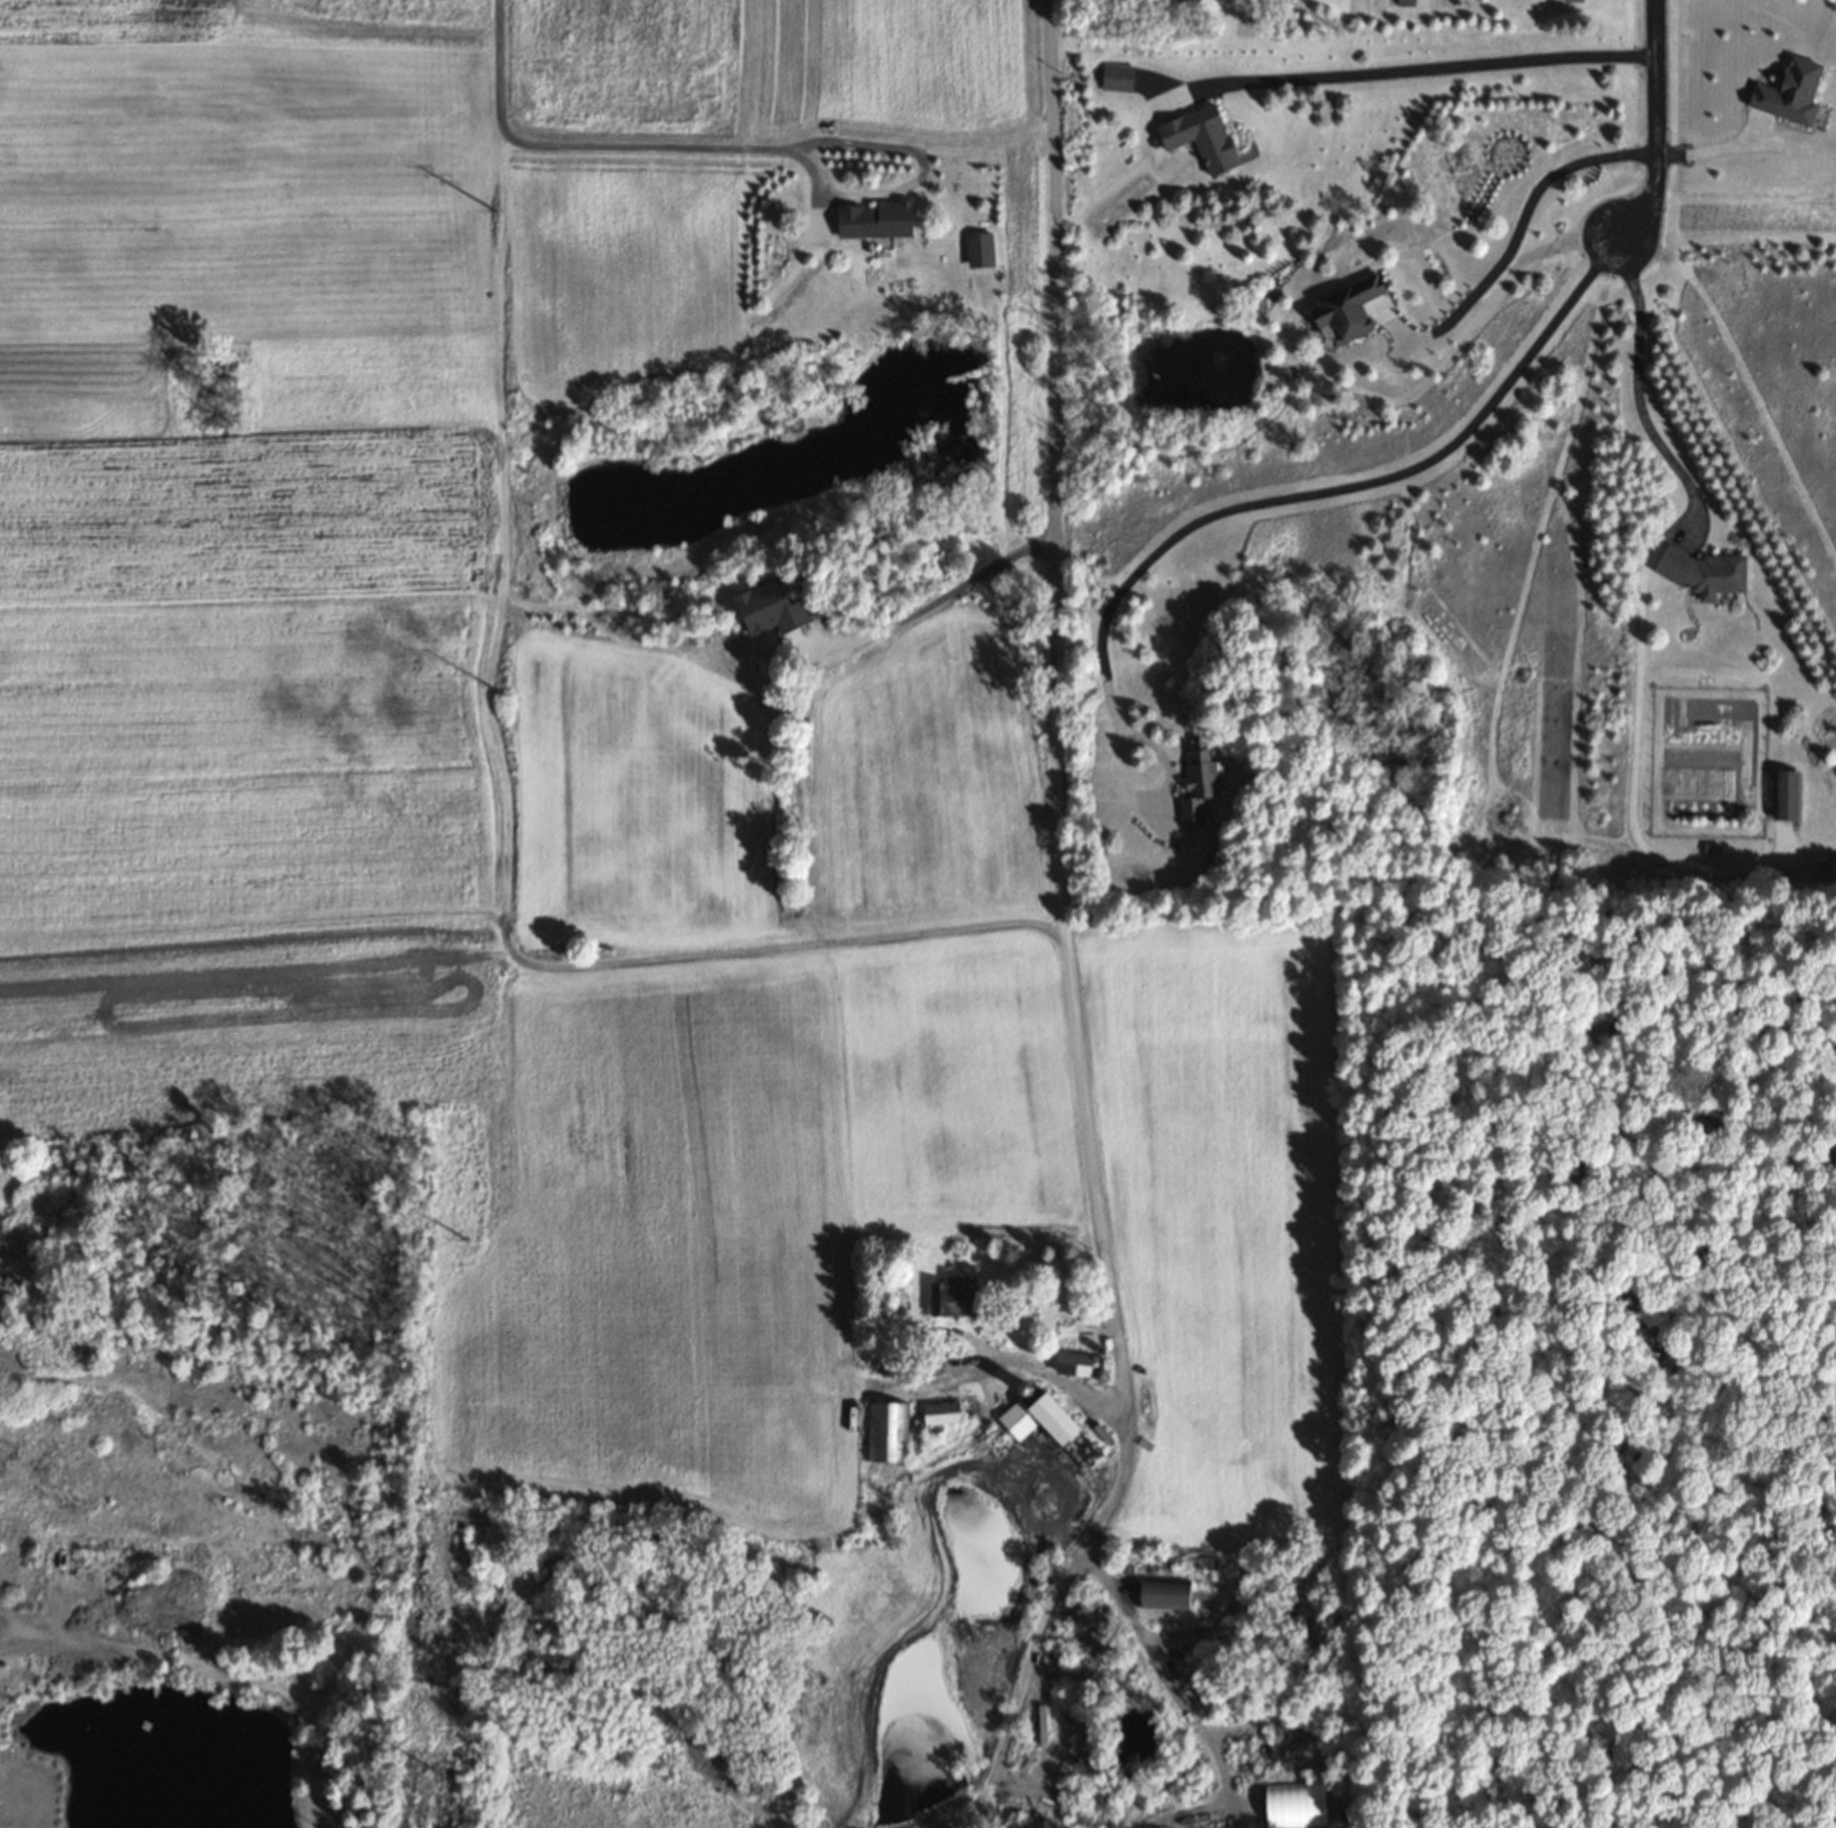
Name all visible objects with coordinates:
building: (1571, 1)
building: (1403, 2)
road: (1434, 66)
road: (1653, 126)
road: (578, 146)
road: (1717, 149)
road: (921, 173)
road: (1523, 208)
power tower: (493, 214)
building: (872, 222)
building: (979, 251)
building: (1344, 310)
road: (1639, 387)
road: (1314, 494)
building: (1704, 575)
road: (928, 605)
building: (770, 612)
power tower: (491, 690)
building: (1196, 784)
building: (1786, 795)
road: (1060, 943)
power tower: (457, 1238)
building: (951, 1299)
building: (1073, 1365)
road: (1033, 1370)
building: (940, 1414)
building: (1051, 1419)
building: (887, 1434)
building: (1003, 1434)
building: (1163, 1595)
building: (1199, 1704)
road: (1183, 1708)
power tower: (422, 1767)
building: (1291, 1806)
road: (990, 1810)

